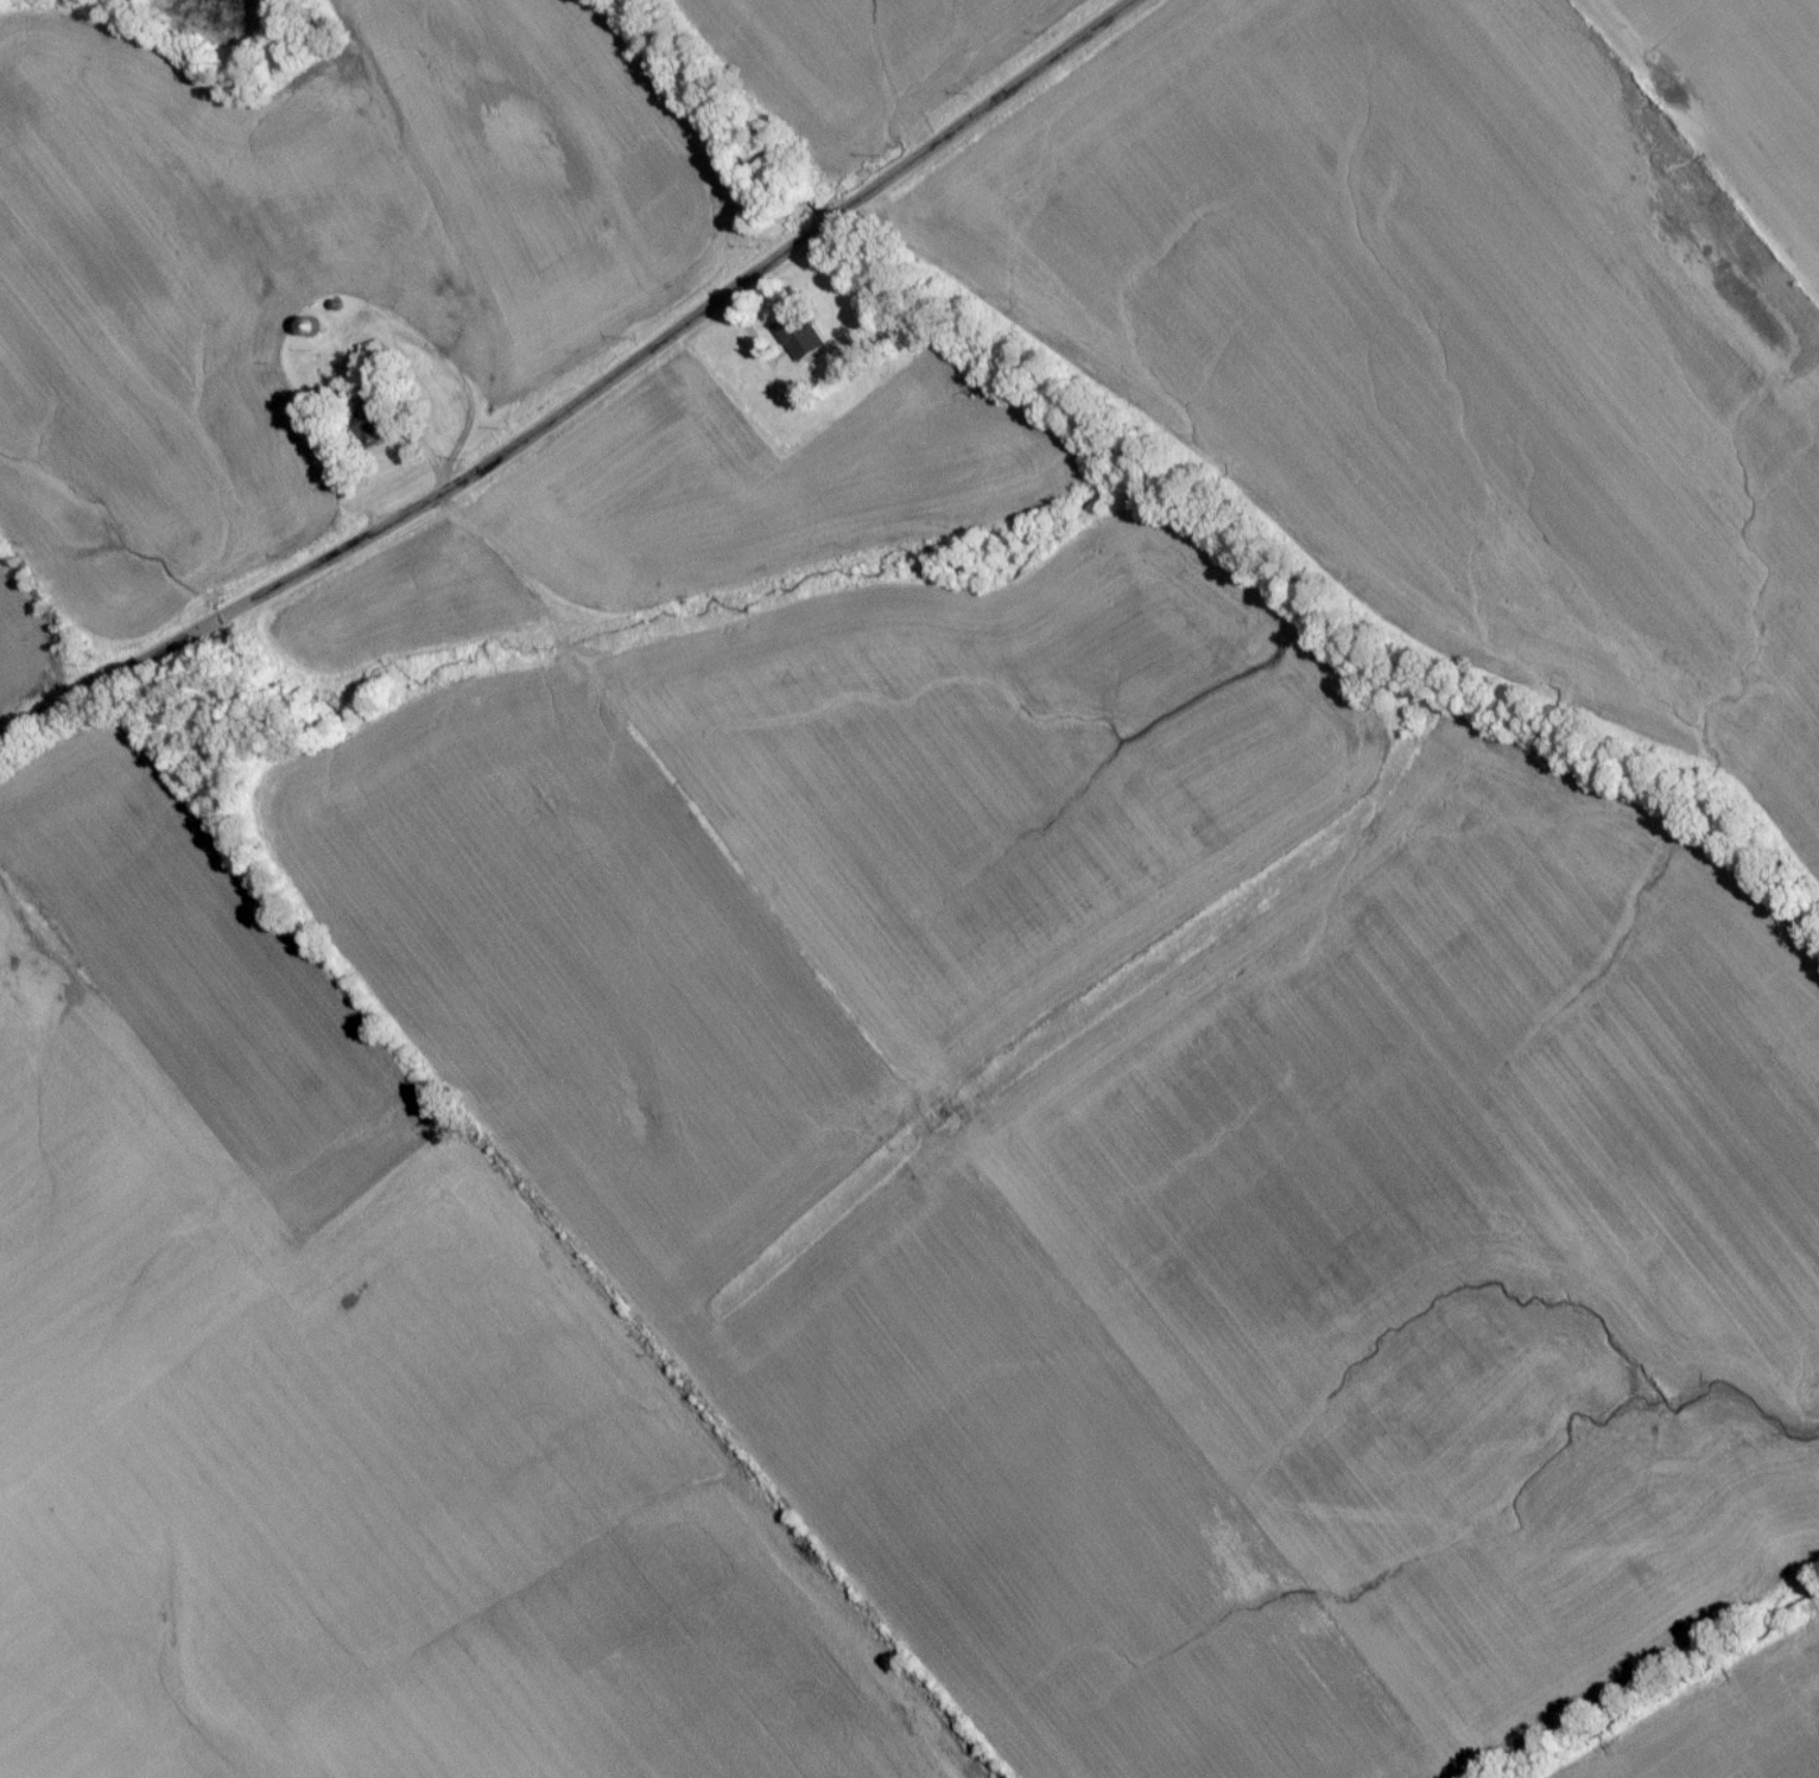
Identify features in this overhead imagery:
building: (376, 364)
road: (578, 400)
building: (370, 431)

